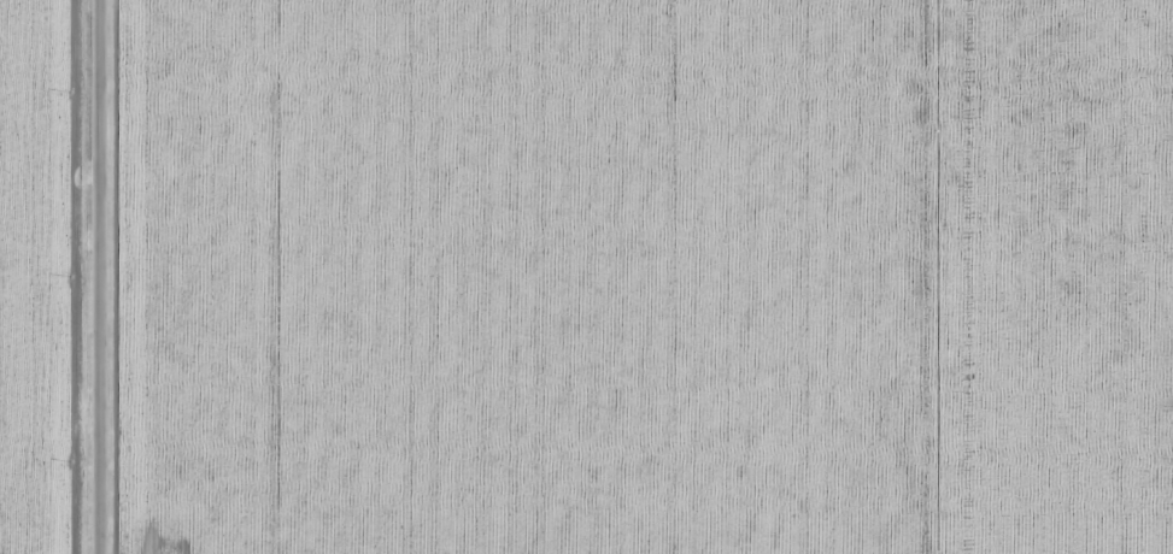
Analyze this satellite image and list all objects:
road: (105, 277)

